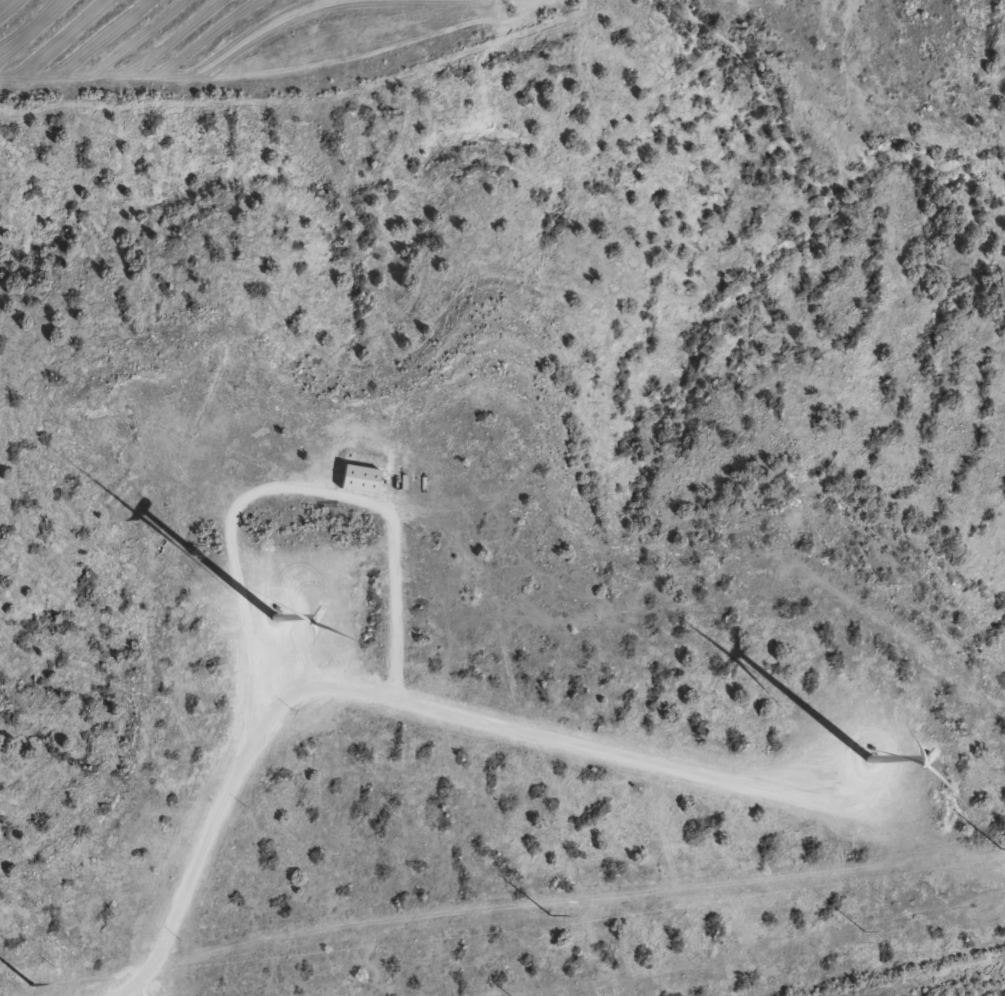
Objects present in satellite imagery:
building: (364, 478)
wind turbine: (300, 619)
wind turbine: (867, 765)
power tower: (997, 849)
power tower: (547, 915)
power tower: (863, 930)
power tower: (29, 984)

